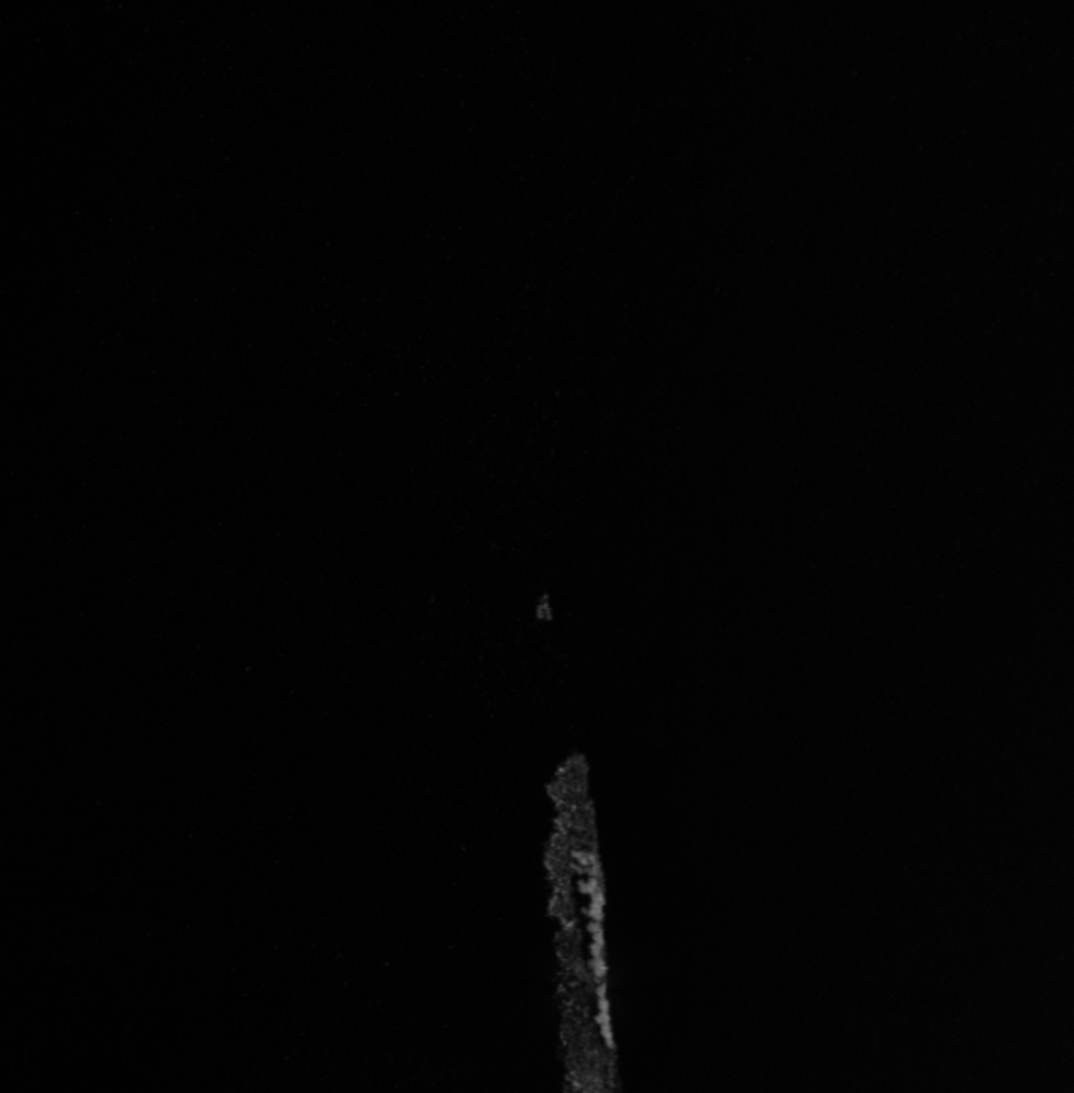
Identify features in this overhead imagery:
river: (863, 545)

